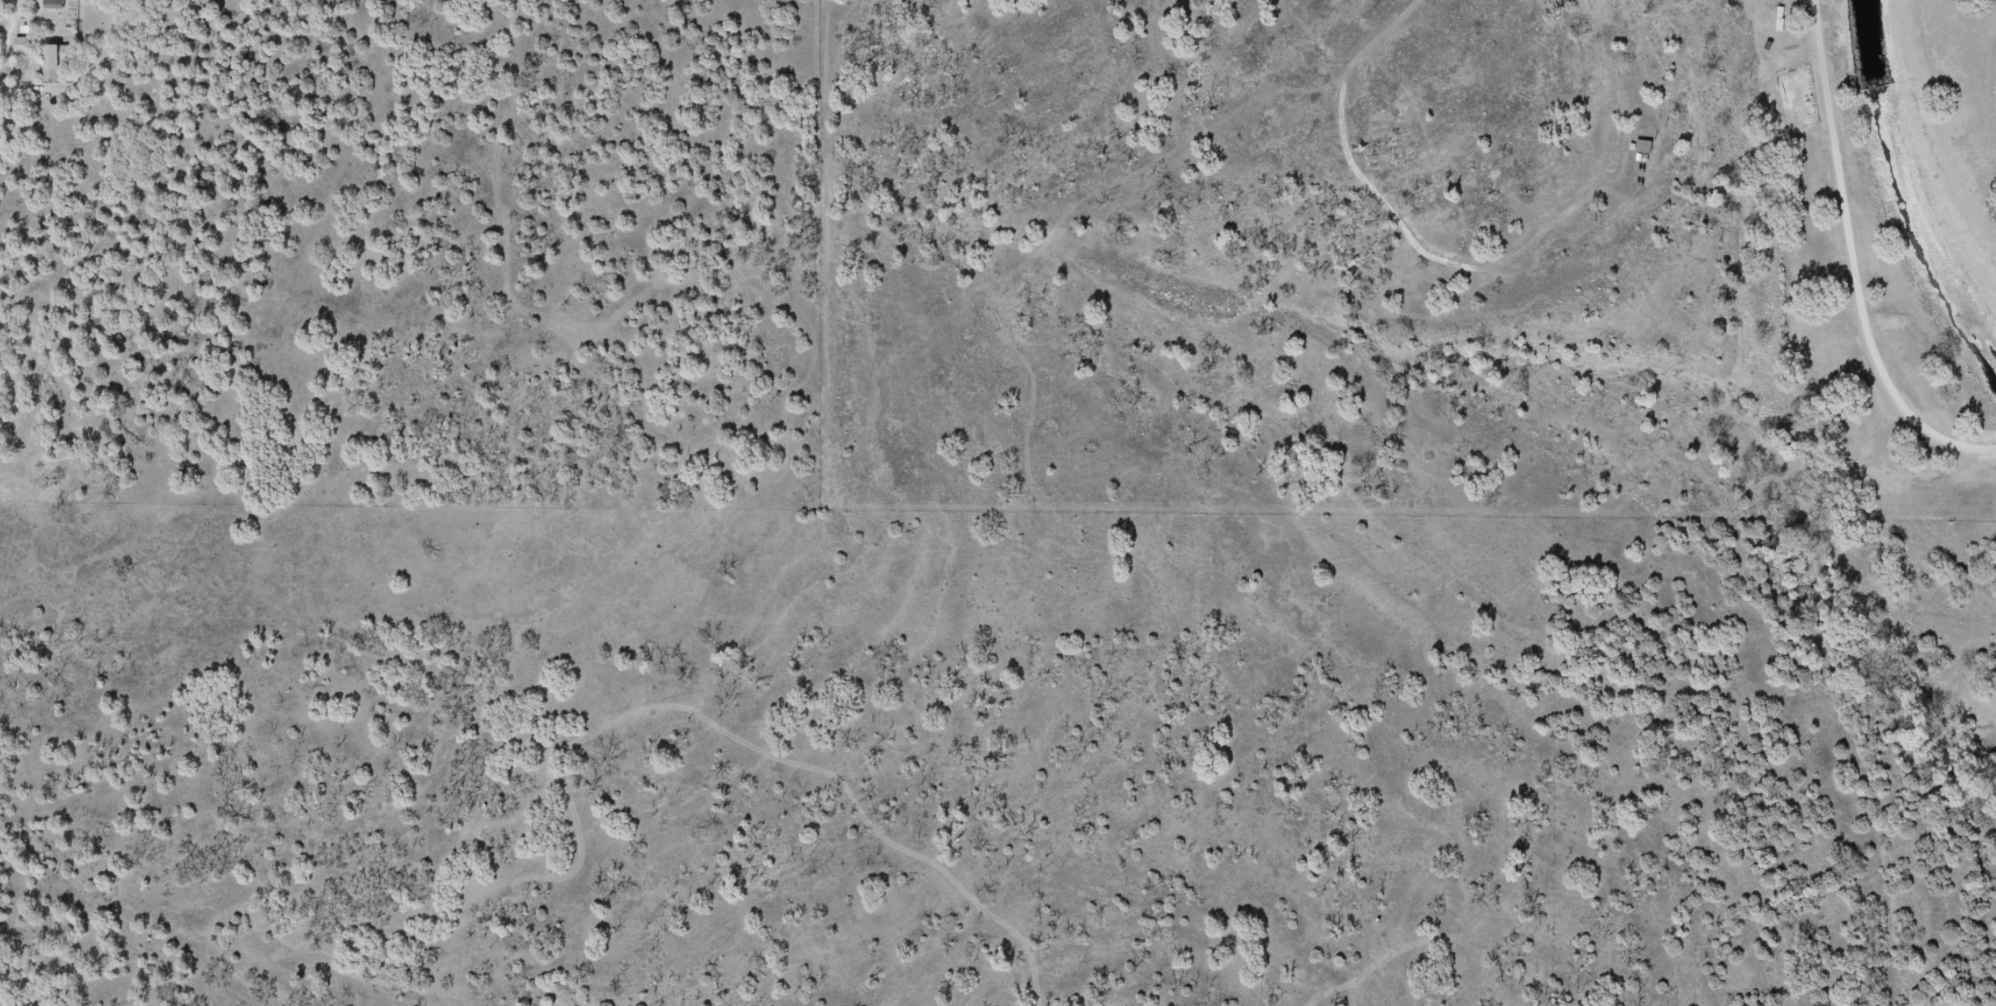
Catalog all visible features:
building: (53, 3)
road: (12, 31)
building: (23, 45)
building: (51, 62)
building: (1644, 149)

